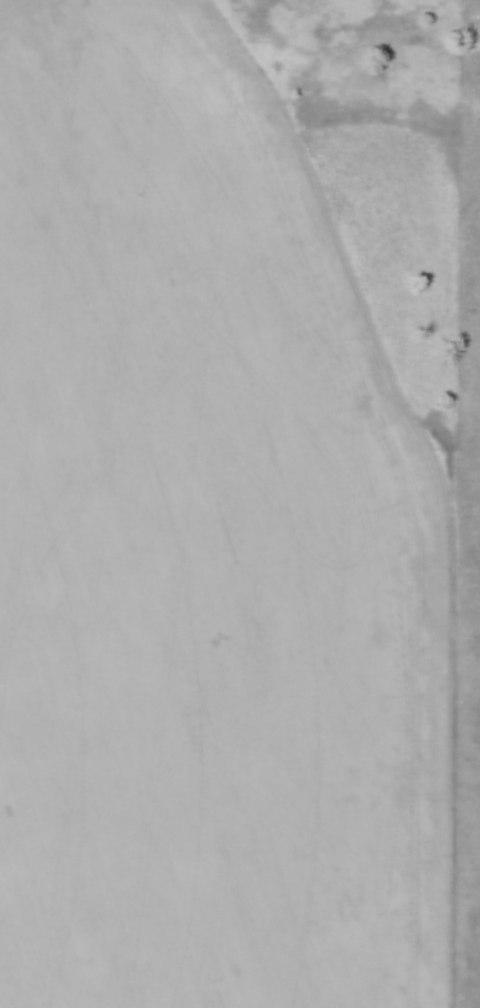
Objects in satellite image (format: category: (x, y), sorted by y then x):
crop: (202, 550)

